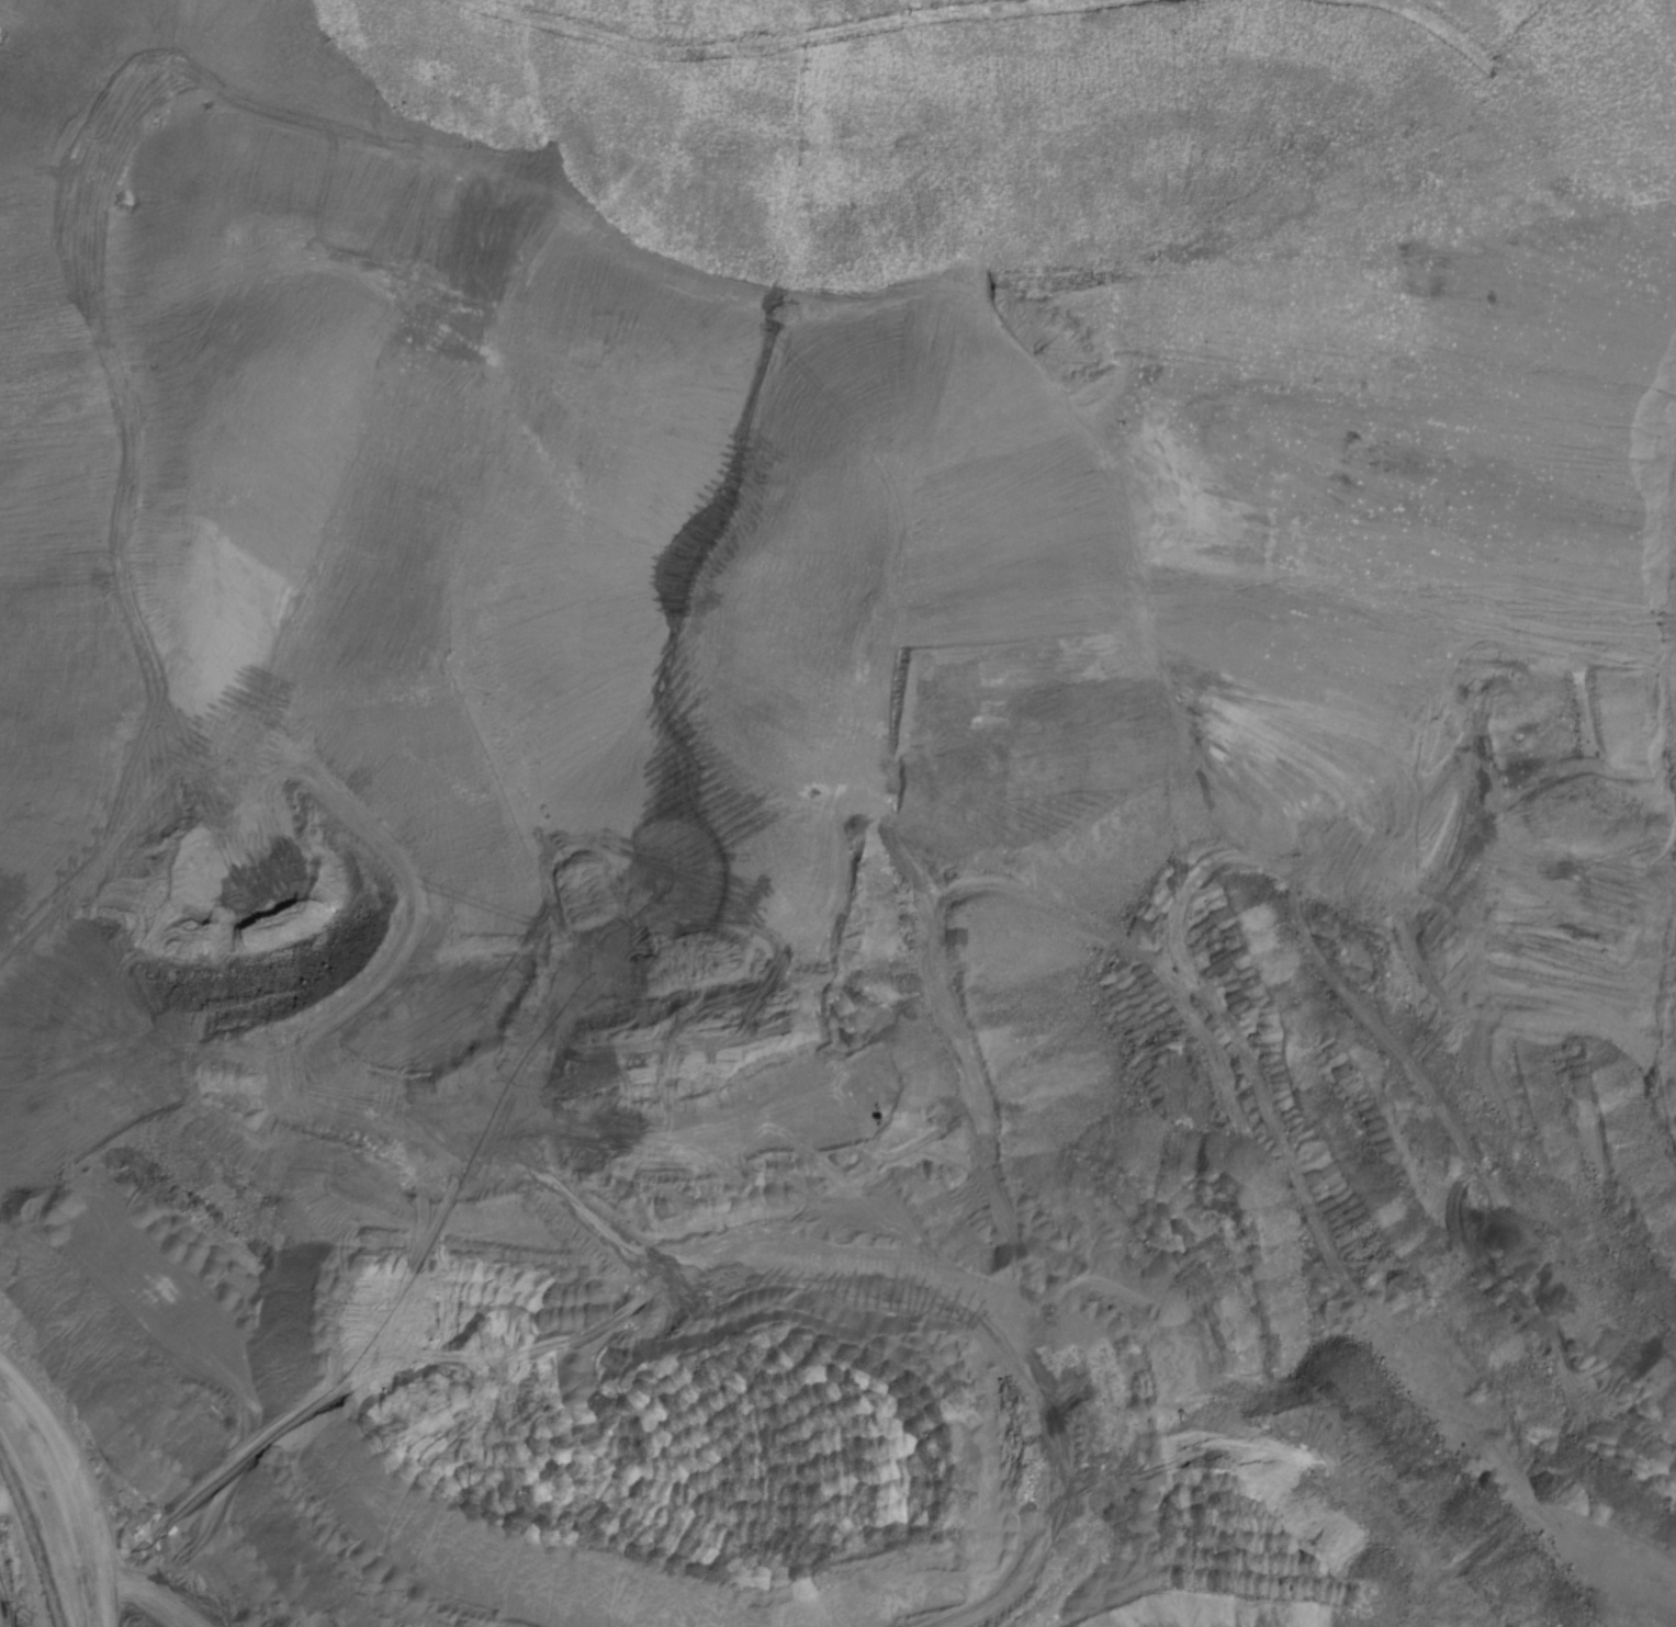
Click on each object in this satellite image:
quarry: (866, 866)
building: (853, 905)
building: (739, 1129)
building: (1474, 1493)
building: (577, 1556)

